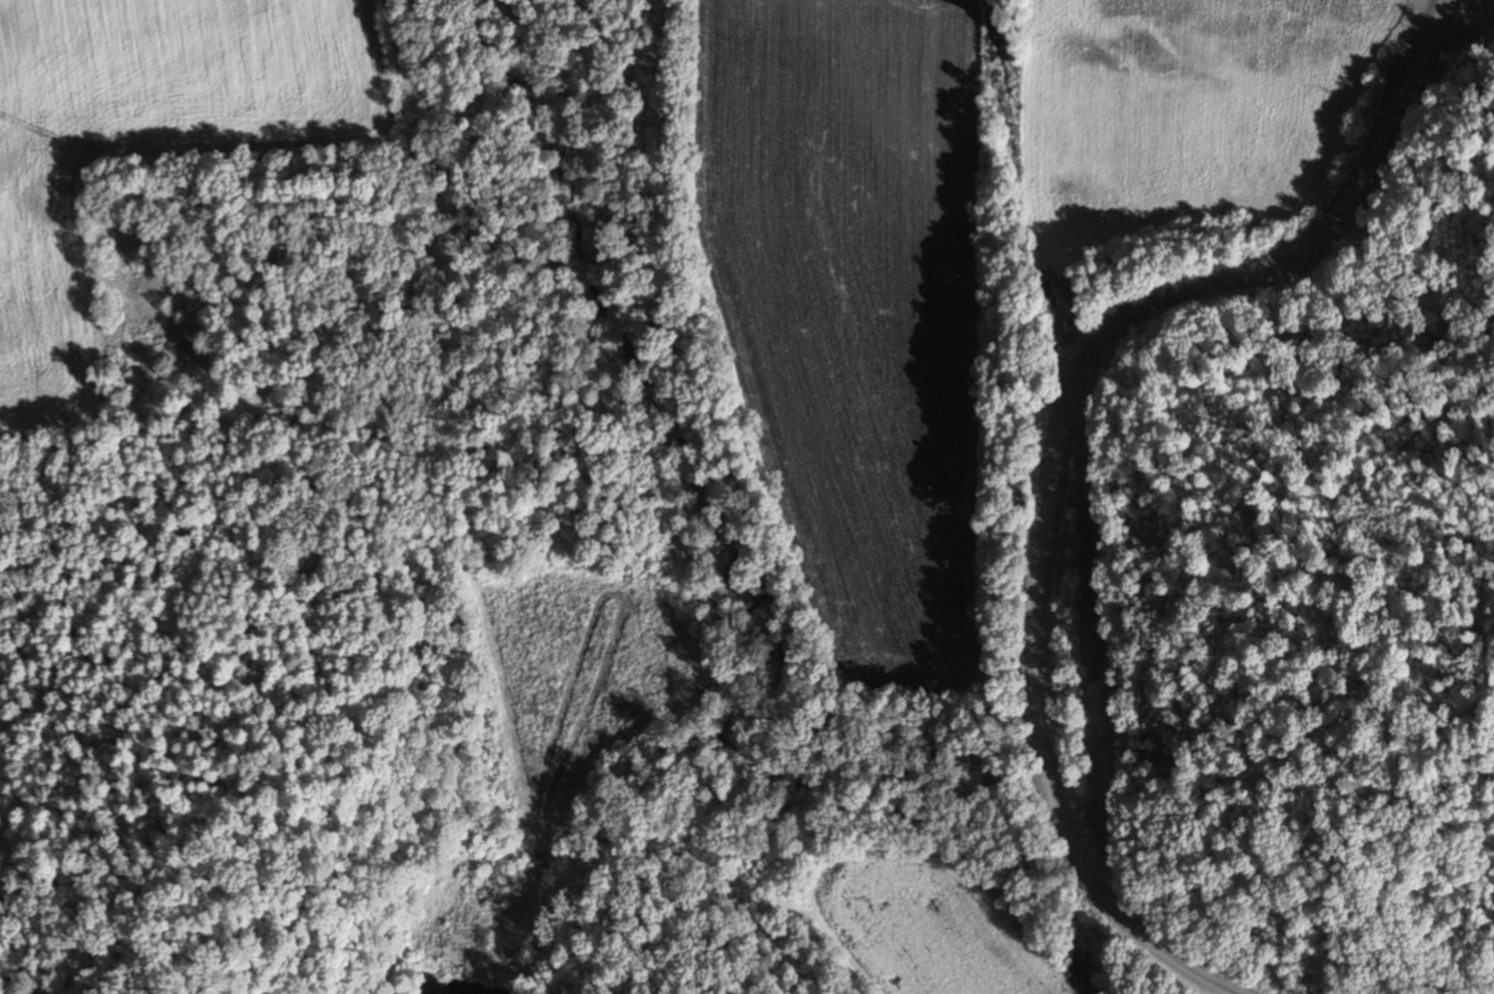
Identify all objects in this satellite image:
road: (1057, 413)

